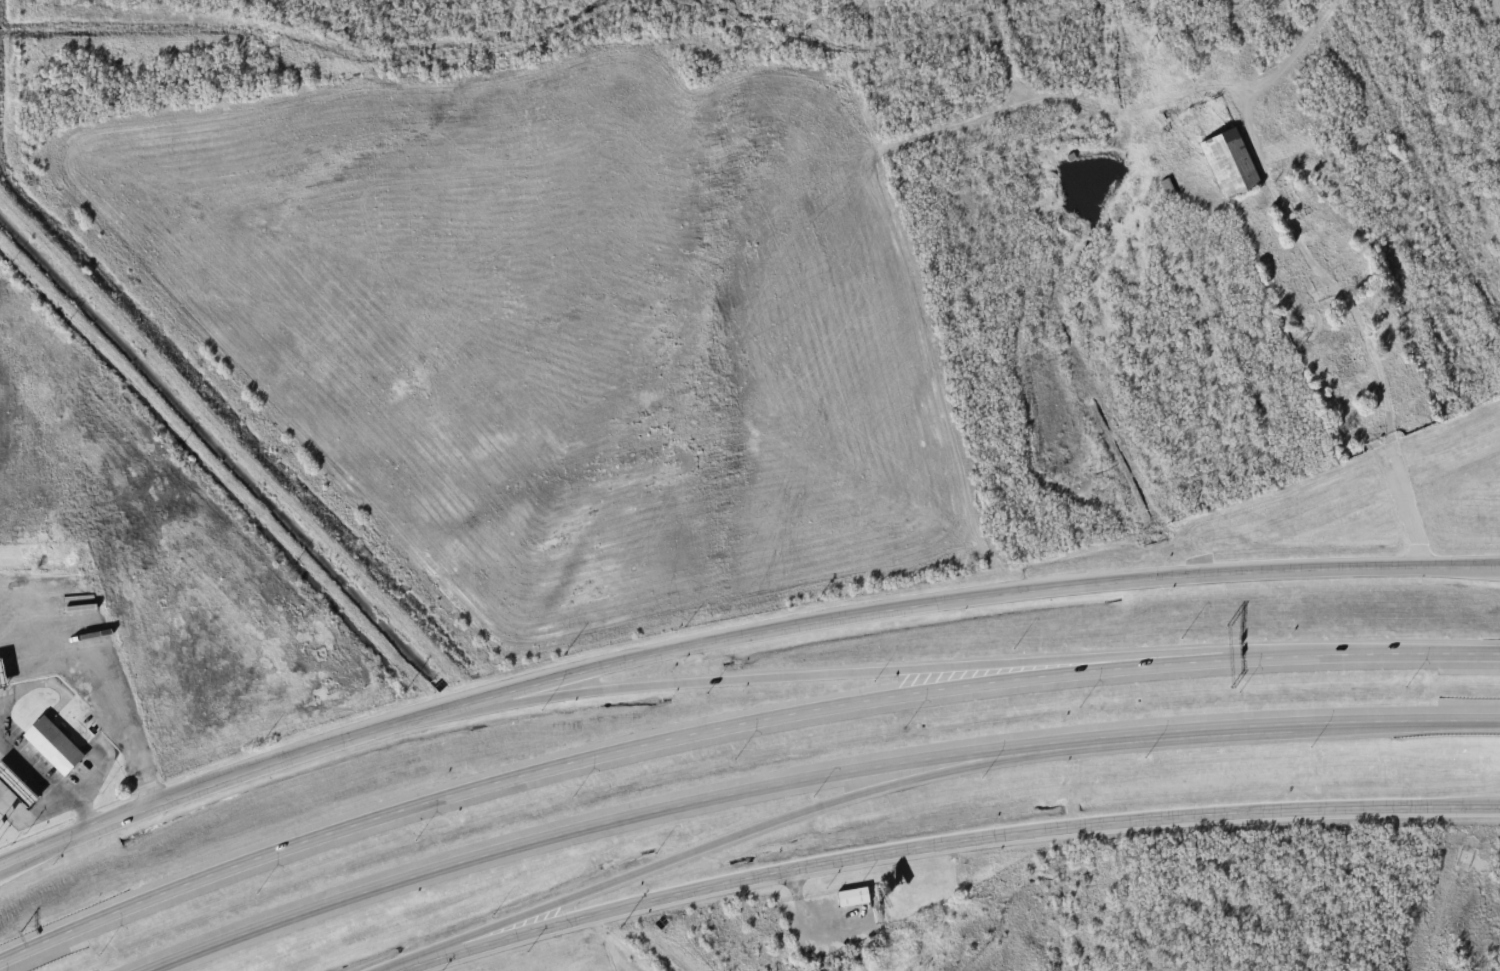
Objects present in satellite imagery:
building: (1229, 163)
road: (733, 638)
road: (821, 675)
road: (733, 726)
building: (56, 735)
building: (19, 774)
gas station: (19, 774)
road: (812, 778)
road: (1495, 805)
road: (720, 841)
road: (944, 848)
road: (6, 864)
road: (6, 868)
building: (858, 889)

